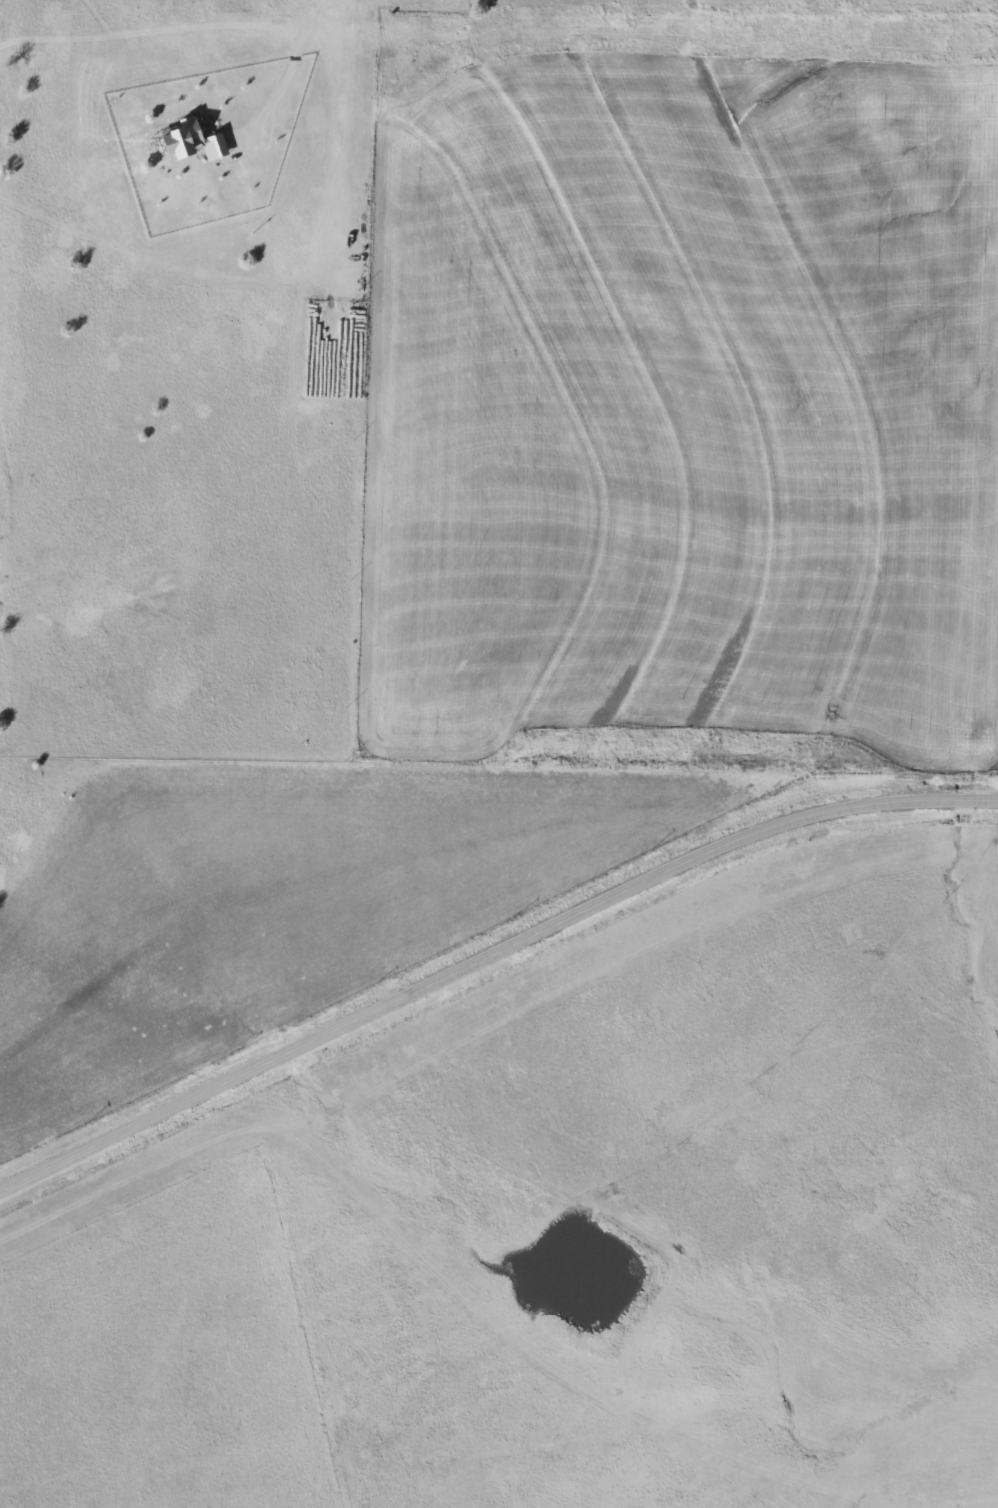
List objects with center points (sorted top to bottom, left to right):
road: (285, 69)
road: (487, 958)

